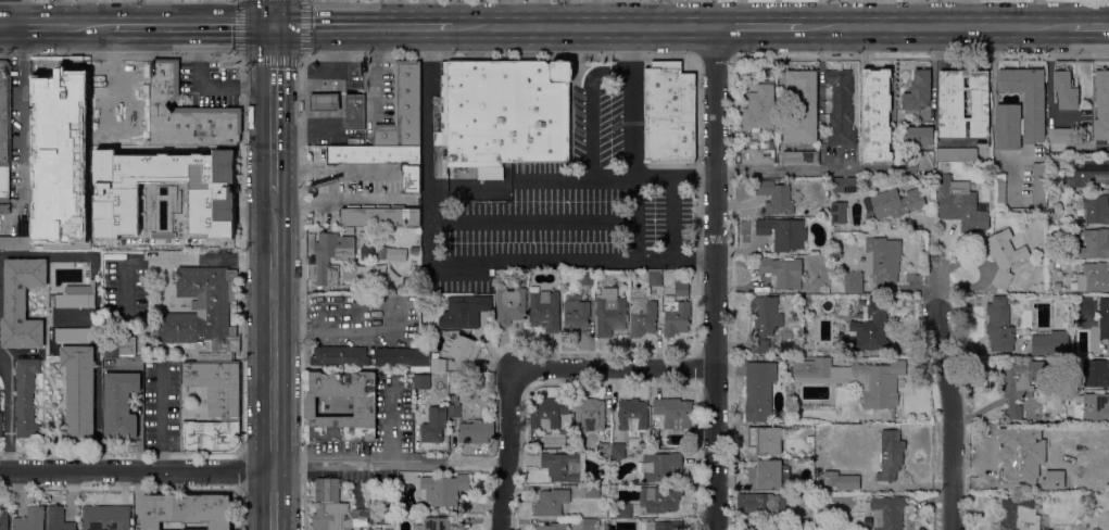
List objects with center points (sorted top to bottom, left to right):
road: (7, 13)
road: (273, 13)
road: (396, 13)
road: (1037, 13)
road: (58, 14)
road: (504, 14)
road: (594, 14)
road: (648, 14)
road: (664, 14)
road: (3, 27)
road: (55, 27)
road: (189, 27)
traffic signals: (273, 27)
road: (362, 27)
road: (932, 27)
road: (1087, 27)
road: (582, 28)
road: (757, 28)
road: (272, 55)
road: (607, 72)
building: (769, 73)
road: (207, 86)
building: (1064, 90)
building: (917, 92)
building: (324, 103)
road: (631, 103)
building: (962, 103)
building: (1101, 105)
road: (21, 106)
building: (802, 108)
road: (272, 109)
building: (759, 109)
building: (840, 109)
building: (403, 110)
building: (1007, 110)
building: (354, 112)
building: (668, 113)
building: (187, 114)
building: (504, 114)
building: (875, 116)
building: (53, 123)
building: (4, 128)
building: (134, 128)
road: (591, 132)
building: (1061, 136)
building: (918, 137)
building: (96, 142)
building: (215, 154)
building: (758, 154)
building: (956, 154)
building: (164, 156)
building: (45, 157)
building: (799, 157)
building: (381, 161)
building: (924, 161)
building: (1038, 169)
road: (784, 171)
building: (1087, 174)
road: (575, 180)
building: (845, 185)
building: (71, 187)
building: (123, 191)
building: (998, 191)
building: (774, 197)
building: (896, 203)
building: (960, 203)
building: (4, 209)
building: (1096, 209)
building: (837, 213)
building: (156, 214)
building: (379, 216)
road: (493, 223)
building: (61, 228)
building: (349, 230)
building: (782, 234)
building: (14, 243)
building: (213, 243)
building: (1093, 243)
building: (417, 251)
road: (43, 254)
building: (1004, 257)
building: (346, 258)
road: (513, 258)
road: (655, 258)
building: (882, 260)
road: (171, 261)
building: (782, 272)
building: (588, 278)
building: (654, 278)
road: (715, 278)
building: (1093, 278)
building: (853, 282)
building: (681, 289)
road: (937, 292)
building: (76, 298)
building: (21, 303)
building: (860, 303)
building: (509, 306)
building: (544, 311)
building: (459, 313)
building: (609, 313)
building: (641, 313)
building: (202, 314)
building: (575, 314)
building: (675, 316)
building: (1104, 317)
building: (764, 321)
building: (796, 324)
building: (999, 326)
building: (866, 329)
road: (273, 331)
building: (72, 335)
building: (1049, 344)
building: (118, 346)
building: (462, 349)
building: (339, 356)
building: (402, 356)
building: (438, 365)
road: (615, 368)
building: (1092, 375)
building: (855, 379)
building: (421, 382)
building: (1023, 383)
building: (77, 391)
building: (758, 391)
building: (453, 397)
building: (25, 399)
building: (119, 405)
building: (213, 406)
building: (364, 407)
building: (1092, 408)
building: (454, 411)
building: (673, 413)
building: (545, 414)
building: (589, 414)
road: (7, 416)
building: (632, 416)
road: (162, 418)
road: (952, 419)
building: (567, 421)
building: (0, 426)
building: (433, 426)
building: (476, 431)
building: (809, 438)
building: (764, 440)
road: (507, 450)
building: (604, 451)
building: (618, 451)
building: (1024, 451)
building: (890, 455)
road: (390, 462)
building: (564, 467)
building: (657, 467)
road: (136, 474)
building: (768, 476)
building: (841, 481)
building: (1051, 482)
building: (1081, 485)
building: (443, 490)
building: (592, 492)
building: (658, 500)
road: (273, 501)
building: (807, 502)
building: (551, 503)
building: (761, 503)
building: (329, 507)
building: (186, 510)
building: (620, 512)
building: (884, 514)
building: (1019, 515)
building: (105, 518)
building: (29, 519)
building: (59, 519)
building: (3, 521)
building: (436, 523)
building: (590, 525)
building: (659, 526)
building: (552, 527)
building: (1073, 527)
building: (767, 529)

